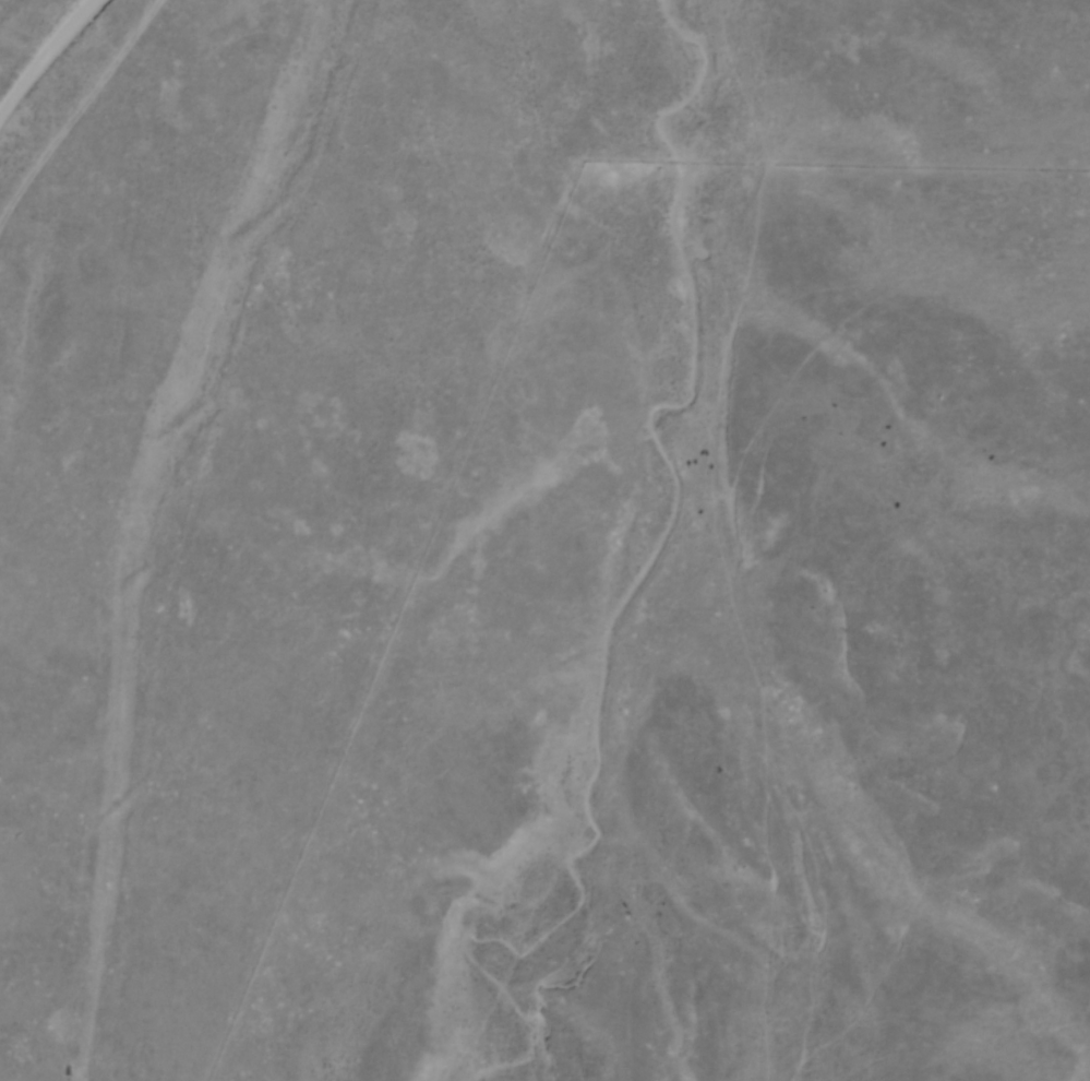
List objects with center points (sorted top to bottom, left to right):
road: (43, 54)

